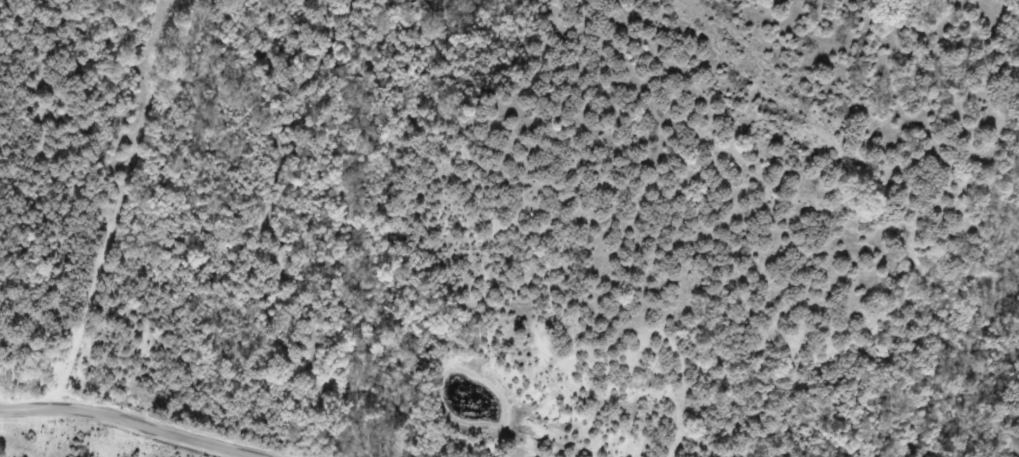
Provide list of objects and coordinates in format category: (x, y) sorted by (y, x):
road: (122, 424)

